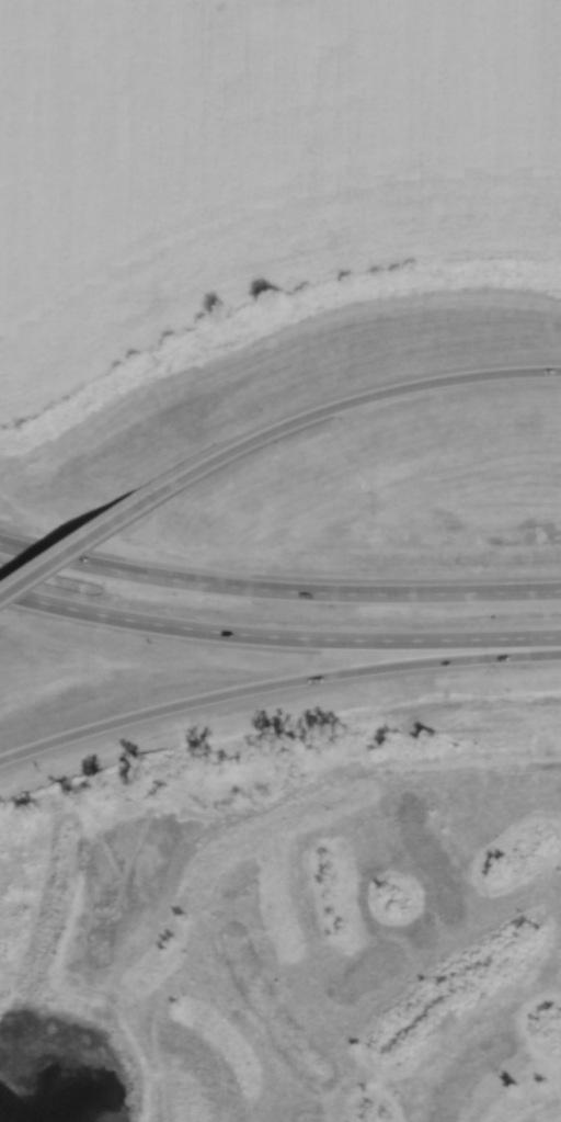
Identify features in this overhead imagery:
crop: (253, 160)
road: (357, 399)
road: (84, 540)
road: (91, 565)
road: (373, 592)
road: (84, 610)
road: (365, 639)
road: (276, 685)

